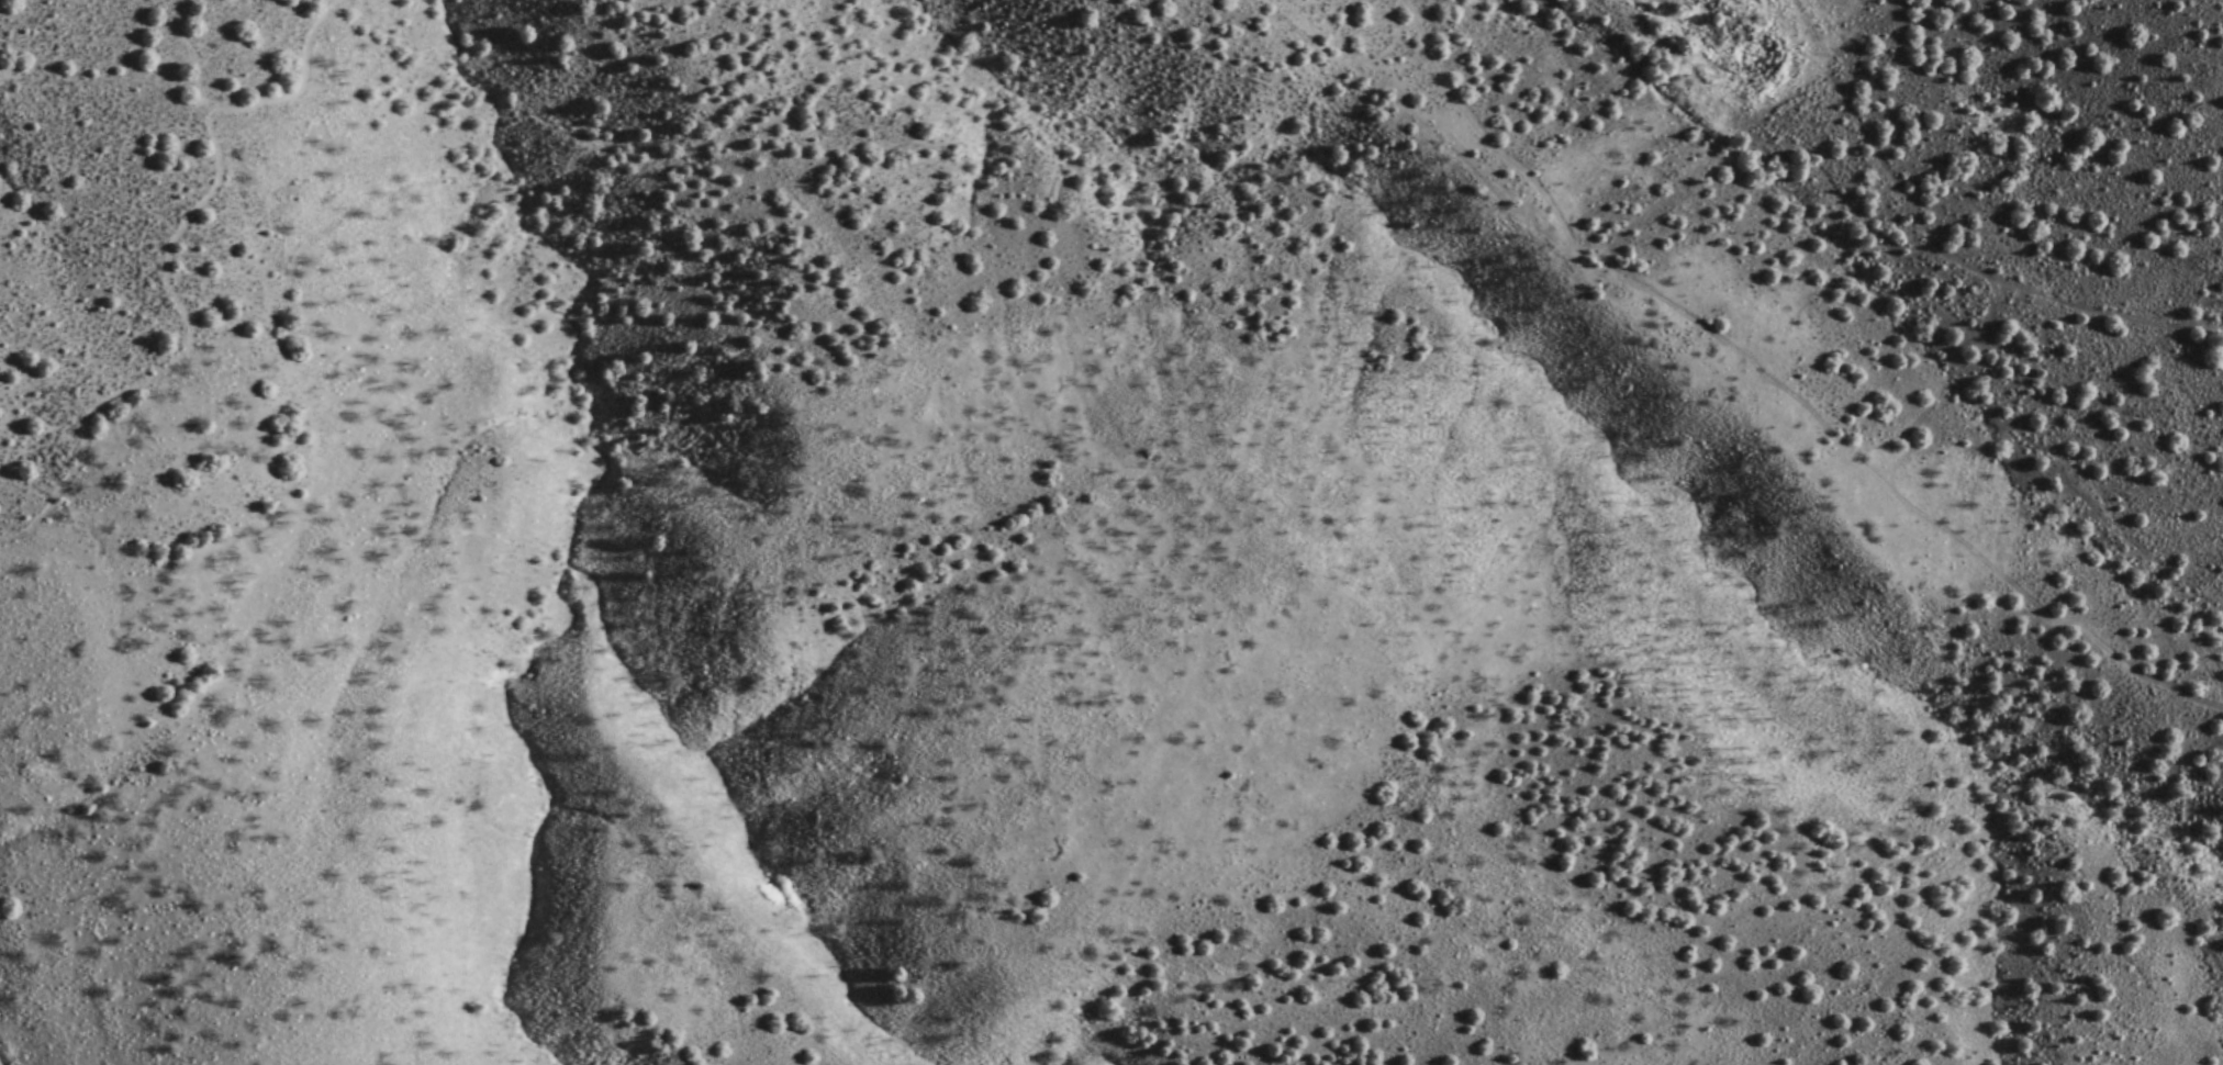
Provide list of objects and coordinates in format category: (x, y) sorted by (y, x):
river: (1651, 8)
road: (1794, 374)

